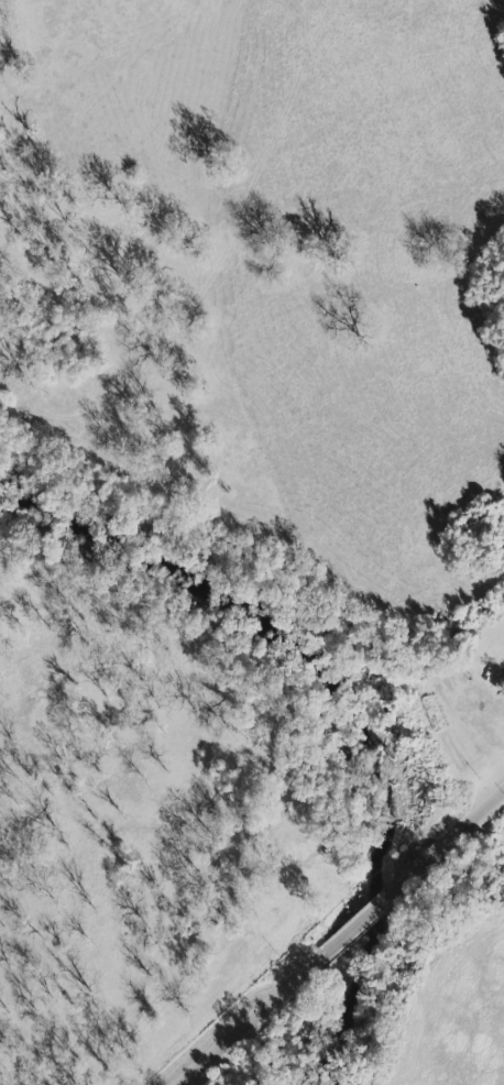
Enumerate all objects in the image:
road: (341, 941)

